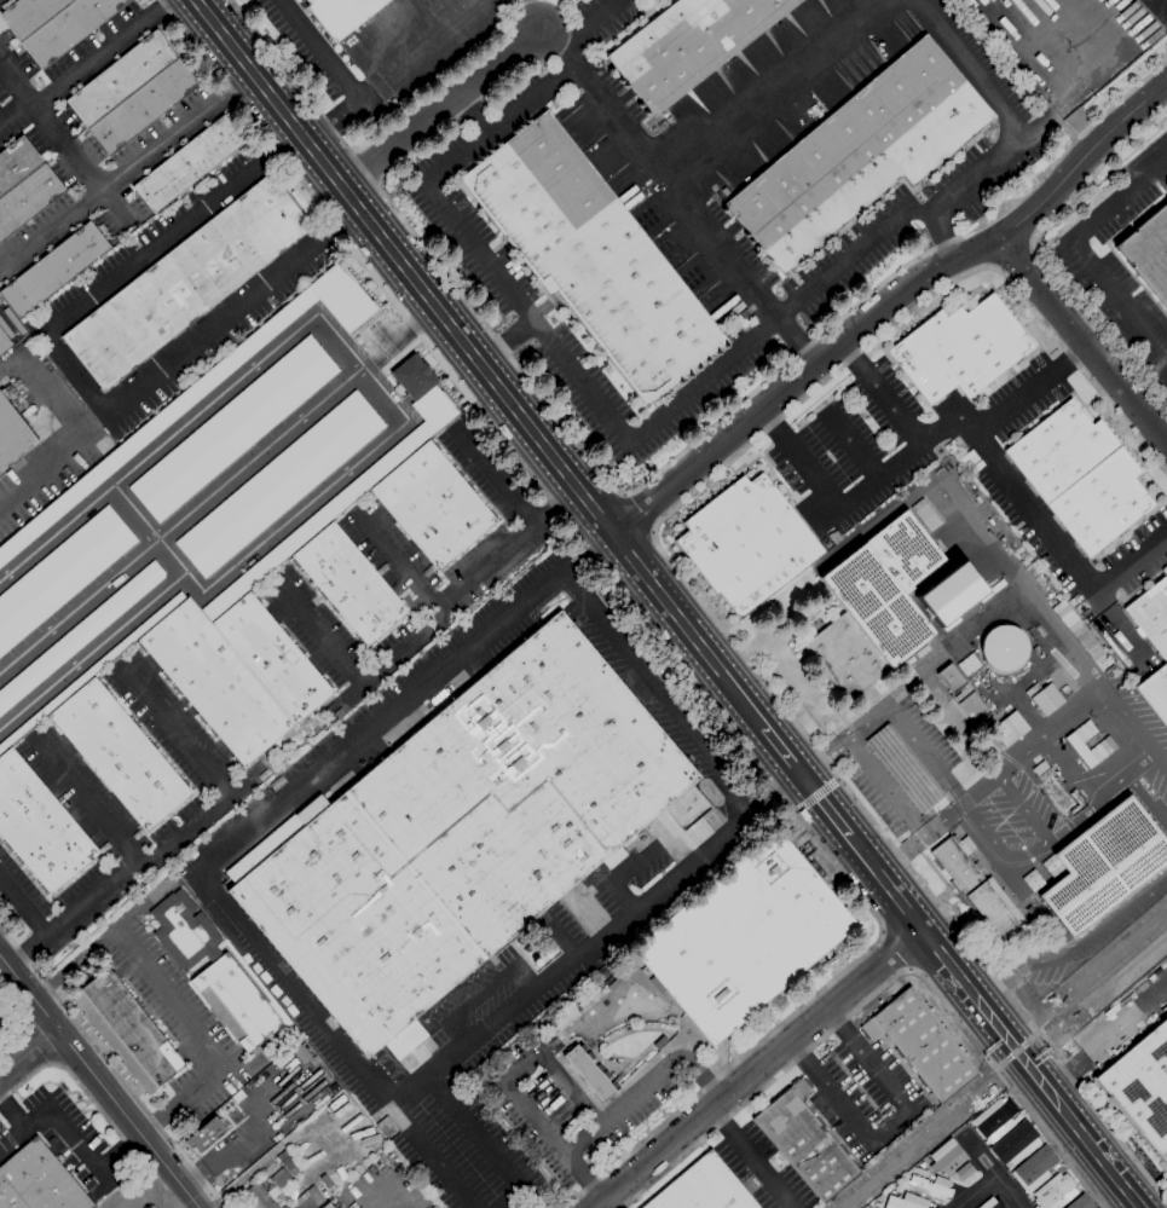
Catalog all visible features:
road: (1162, 6)
road: (154, 8)
building: (341, 15)
building: (29, 16)
road: (584, 25)
building: (68, 28)
parking lot: (1067, 41)
building: (688, 45)
road: (406, 48)
road: (319, 53)
road: (70, 73)
building: (120, 79)
road: (774, 87)
road: (231, 88)
road: (1121, 99)
building: (141, 106)
road: (440, 109)
road: (335, 127)
road: (63, 139)
road: (278, 144)
building: (859, 154)
building: (17, 163)
building: (187, 164)
road: (1094, 173)
road: (105, 185)
road: (680, 196)
building: (27, 198)
road: (336, 222)
road: (885, 227)
road: (941, 235)
road: (466, 238)
road: (1076, 250)
building: (1149, 253)
building: (591, 258)
road: (1017, 261)
building: (53, 270)
building: (183, 284)
road: (886, 302)
road: (502, 339)
road: (1082, 342)
building: (4, 343)
building: (960, 349)
road: (850, 356)
road: (473, 357)
road: (1069, 360)
road: (70, 372)
road: (369, 375)
road: (891, 408)
road: (838, 423)
building: (231, 428)
road: (772, 430)
building: (12, 435)
road: (40, 472)
road: (493, 475)
building: (1080, 476)
road: (602, 479)
road: (876, 480)
building: (277, 484)
road: (214, 487)
road: (554, 504)
building: (432, 505)
road: (641, 510)
road: (1030, 513)
building: (747, 543)
road: (395, 560)
road: (178, 565)
building: (62, 577)
building: (348, 584)
road: (691, 590)
building: (949, 594)
building: (873, 606)
road: (434, 609)
building: (1151, 615)
road: (651, 630)
building: (79, 635)
road: (319, 636)
building: (1001, 649)
building: (966, 664)
building: (235, 674)
building: (949, 678)
building: (1155, 692)
building: (1046, 700)
building: (974, 710)
road: (177, 728)
building: (1009, 729)
road: (908, 732)
road: (1051, 732)
building: (1084, 733)
road: (776, 745)
building: (1080, 750)
building: (119, 755)
road: (821, 758)
building: (902, 769)
road: (882, 788)
road: (776, 794)
flagpole: (712, 796)
road: (815, 796)
road: (819, 799)
road: (87, 804)
building: (39, 826)
building: (461, 836)
road: (1035, 852)
road: (899, 856)
building: (1102, 865)
road: (138, 867)
building: (976, 889)
road: (23, 912)
building: (184, 931)
building: (743, 937)
road: (559, 940)
road: (895, 952)
road: (1076, 952)
road: (28, 955)
road: (941, 956)
building: (613, 984)
road: (487, 989)
building: (235, 1004)
road: (22, 1021)
road: (193, 1023)
road: (842, 1024)
park: (587, 1028)
building: (127, 1031)
road: (1107, 1040)
building: (659, 1044)
road: (815, 1044)
road: (40, 1045)
building: (920, 1045)
road: (28, 1054)
road: (802, 1056)
railway: (998, 1065)
road: (110, 1068)
road: (762, 1070)
building: (589, 1073)
road: (98, 1082)
road: (700, 1082)
road: (76, 1085)
building: (1140, 1087)
road: (570, 1091)
building: (1001, 1094)
building: (984, 1099)
road: (1017, 1100)
road: (522, 1103)
parking lot: (577, 1105)
road: (386, 1108)
road: (624, 1109)
road: (12, 1112)
road: (52, 1120)
building: (994, 1120)
road: (157, 1125)
road: (889, 1127)
building: (203, 1134)
road: (483, 1143)
building: (804, 1143)
building: (1015, 1145)
road: (1092, 1149)
road: (119, 1156)
building: (946, 1157)
road: (429, 1158)
building: (285, 1160)
road: (752, 1161)
building: (922, 1164)
building: (1055, 1167)
road: (1069, 1168)
building: (1033, 1169)
building: (1059, 1169)
building: (964, 1172)
road: (993, 1173)
building: (37, 1180)
building: (281, 1180)
road: (587, 1183)
building: (930, 1187)
building: (703, 1189)
road: (976, 1192)
building: (1053, 1192)
building: (273, 1195)
building: (254, 1198)
building: (306, 1200)
building: (906, 1202)
building: (990, 1203)
building: (1080, 1203)
building: (327, 1206)

